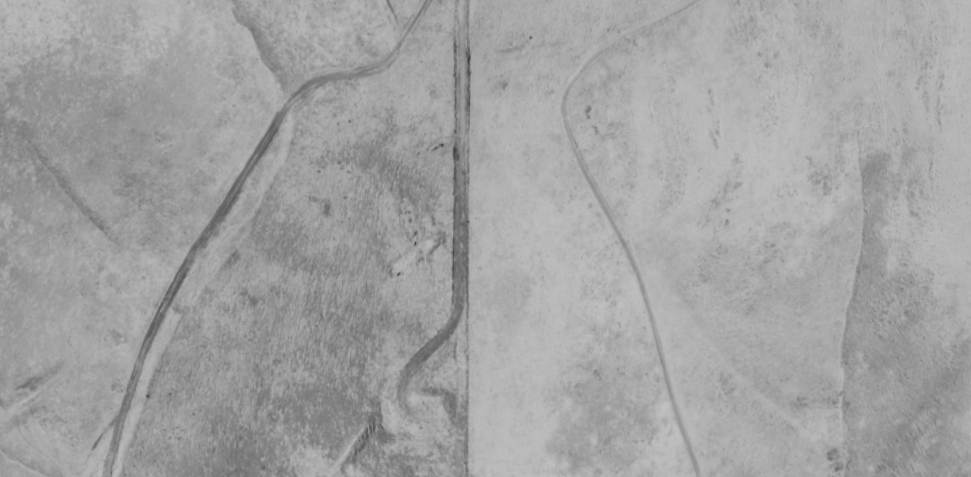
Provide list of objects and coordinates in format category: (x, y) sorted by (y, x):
road: (598, 207)

